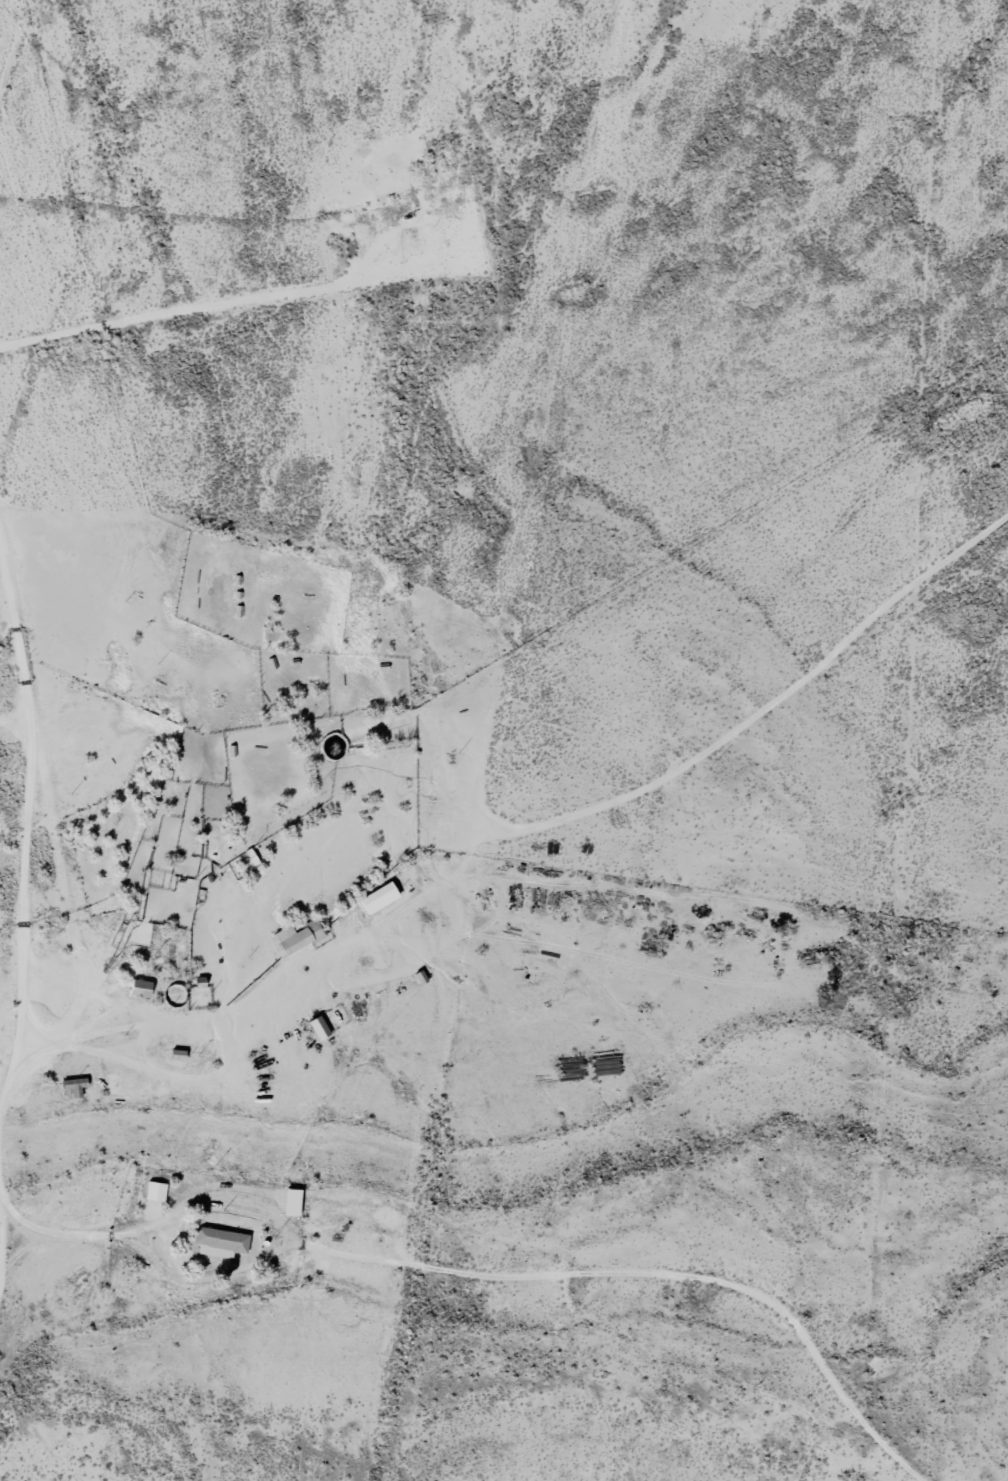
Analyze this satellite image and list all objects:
road: (13, 747)
road: (566, 869)
building: (378, 899)
building: (299, 937)
road: (77, 957)
building: (140, 988)
building: (319, 1028)
building: (75, 1087)
building: (155, 1192)
building: (292, 1203)
building: (220, 1243)
road: (88, 1250)
road: (544, 1301)

